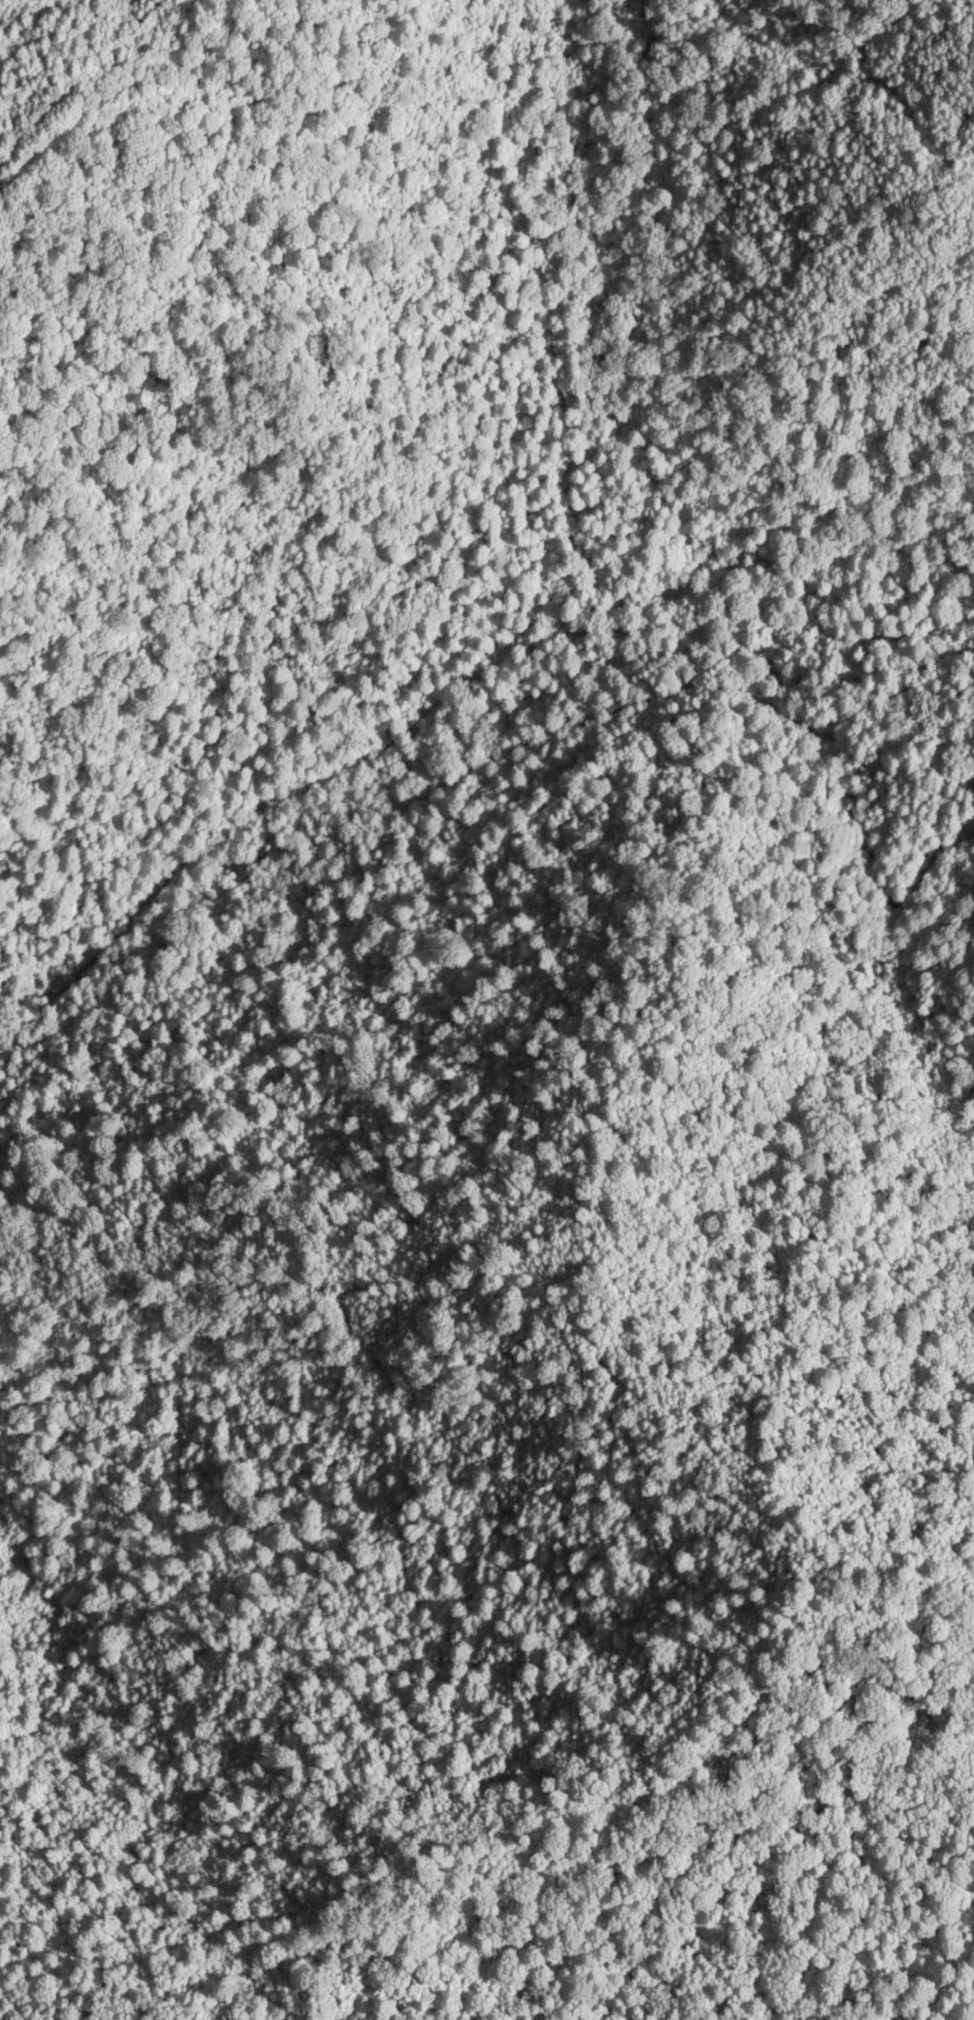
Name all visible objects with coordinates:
road: (876, 1981)

